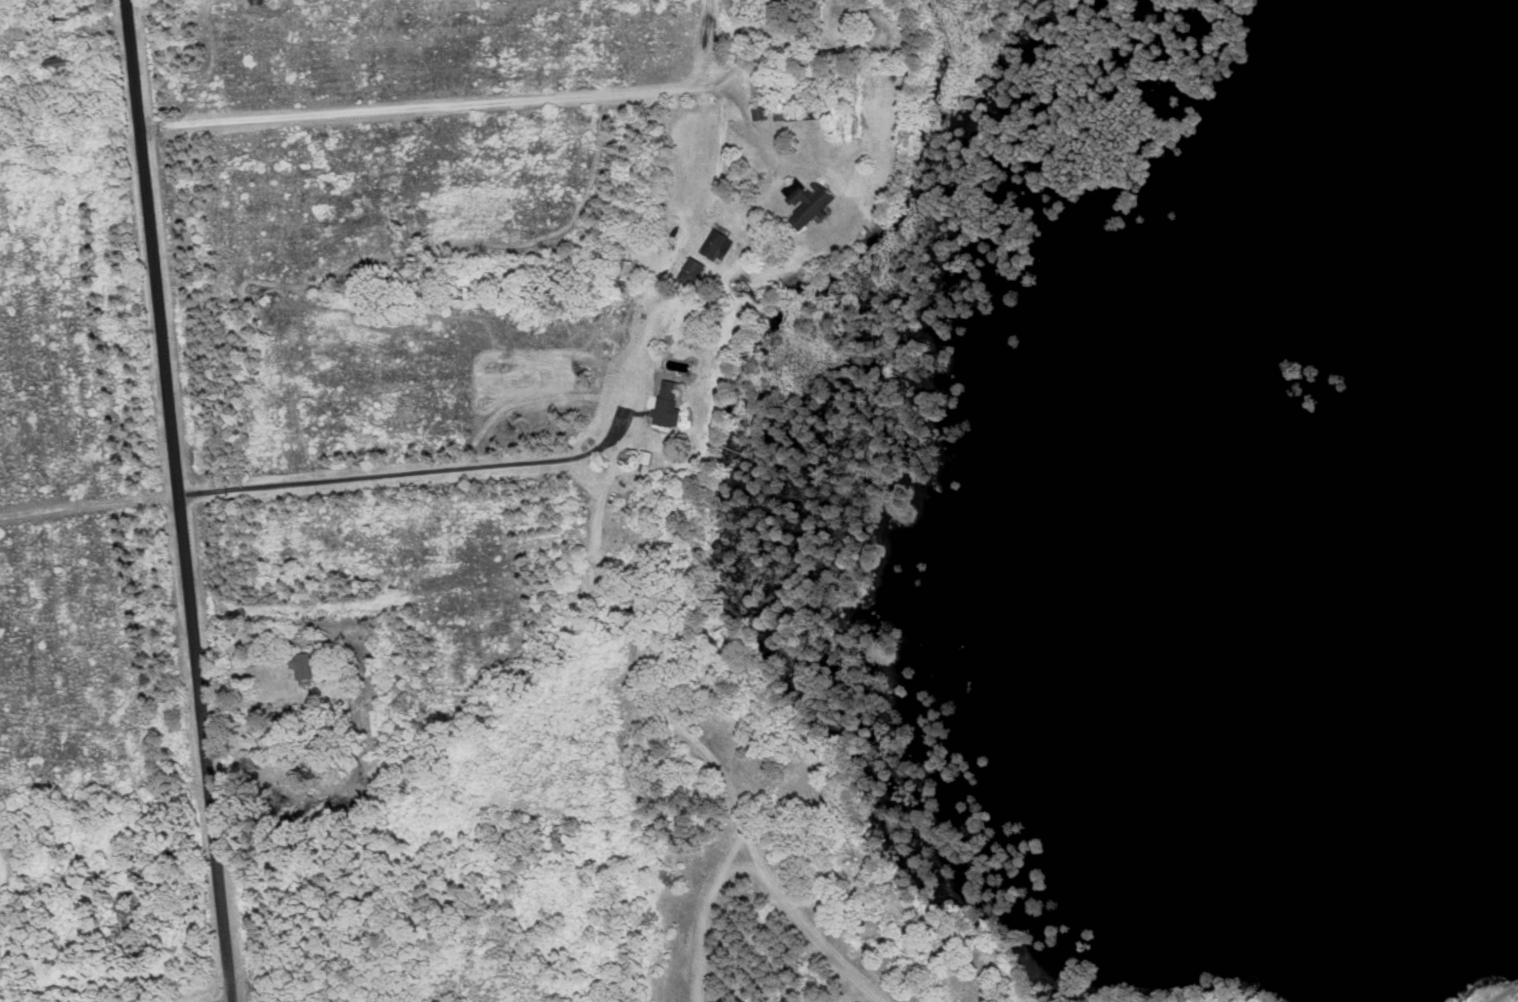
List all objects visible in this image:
building: (258, 2)
building: (76, 12)
building: (51, 64)
road: (424, 108)
building: (803, 202)
building: (713, 247)
building: (625, 272)
building: (689, 274)
building: (665, 404)
road: (178, 500)
building: (301, 666)
road: (762, 869)
road: (731, 872)
road: (759, 877)
road: (710, 906)
road: (1504, 994)

